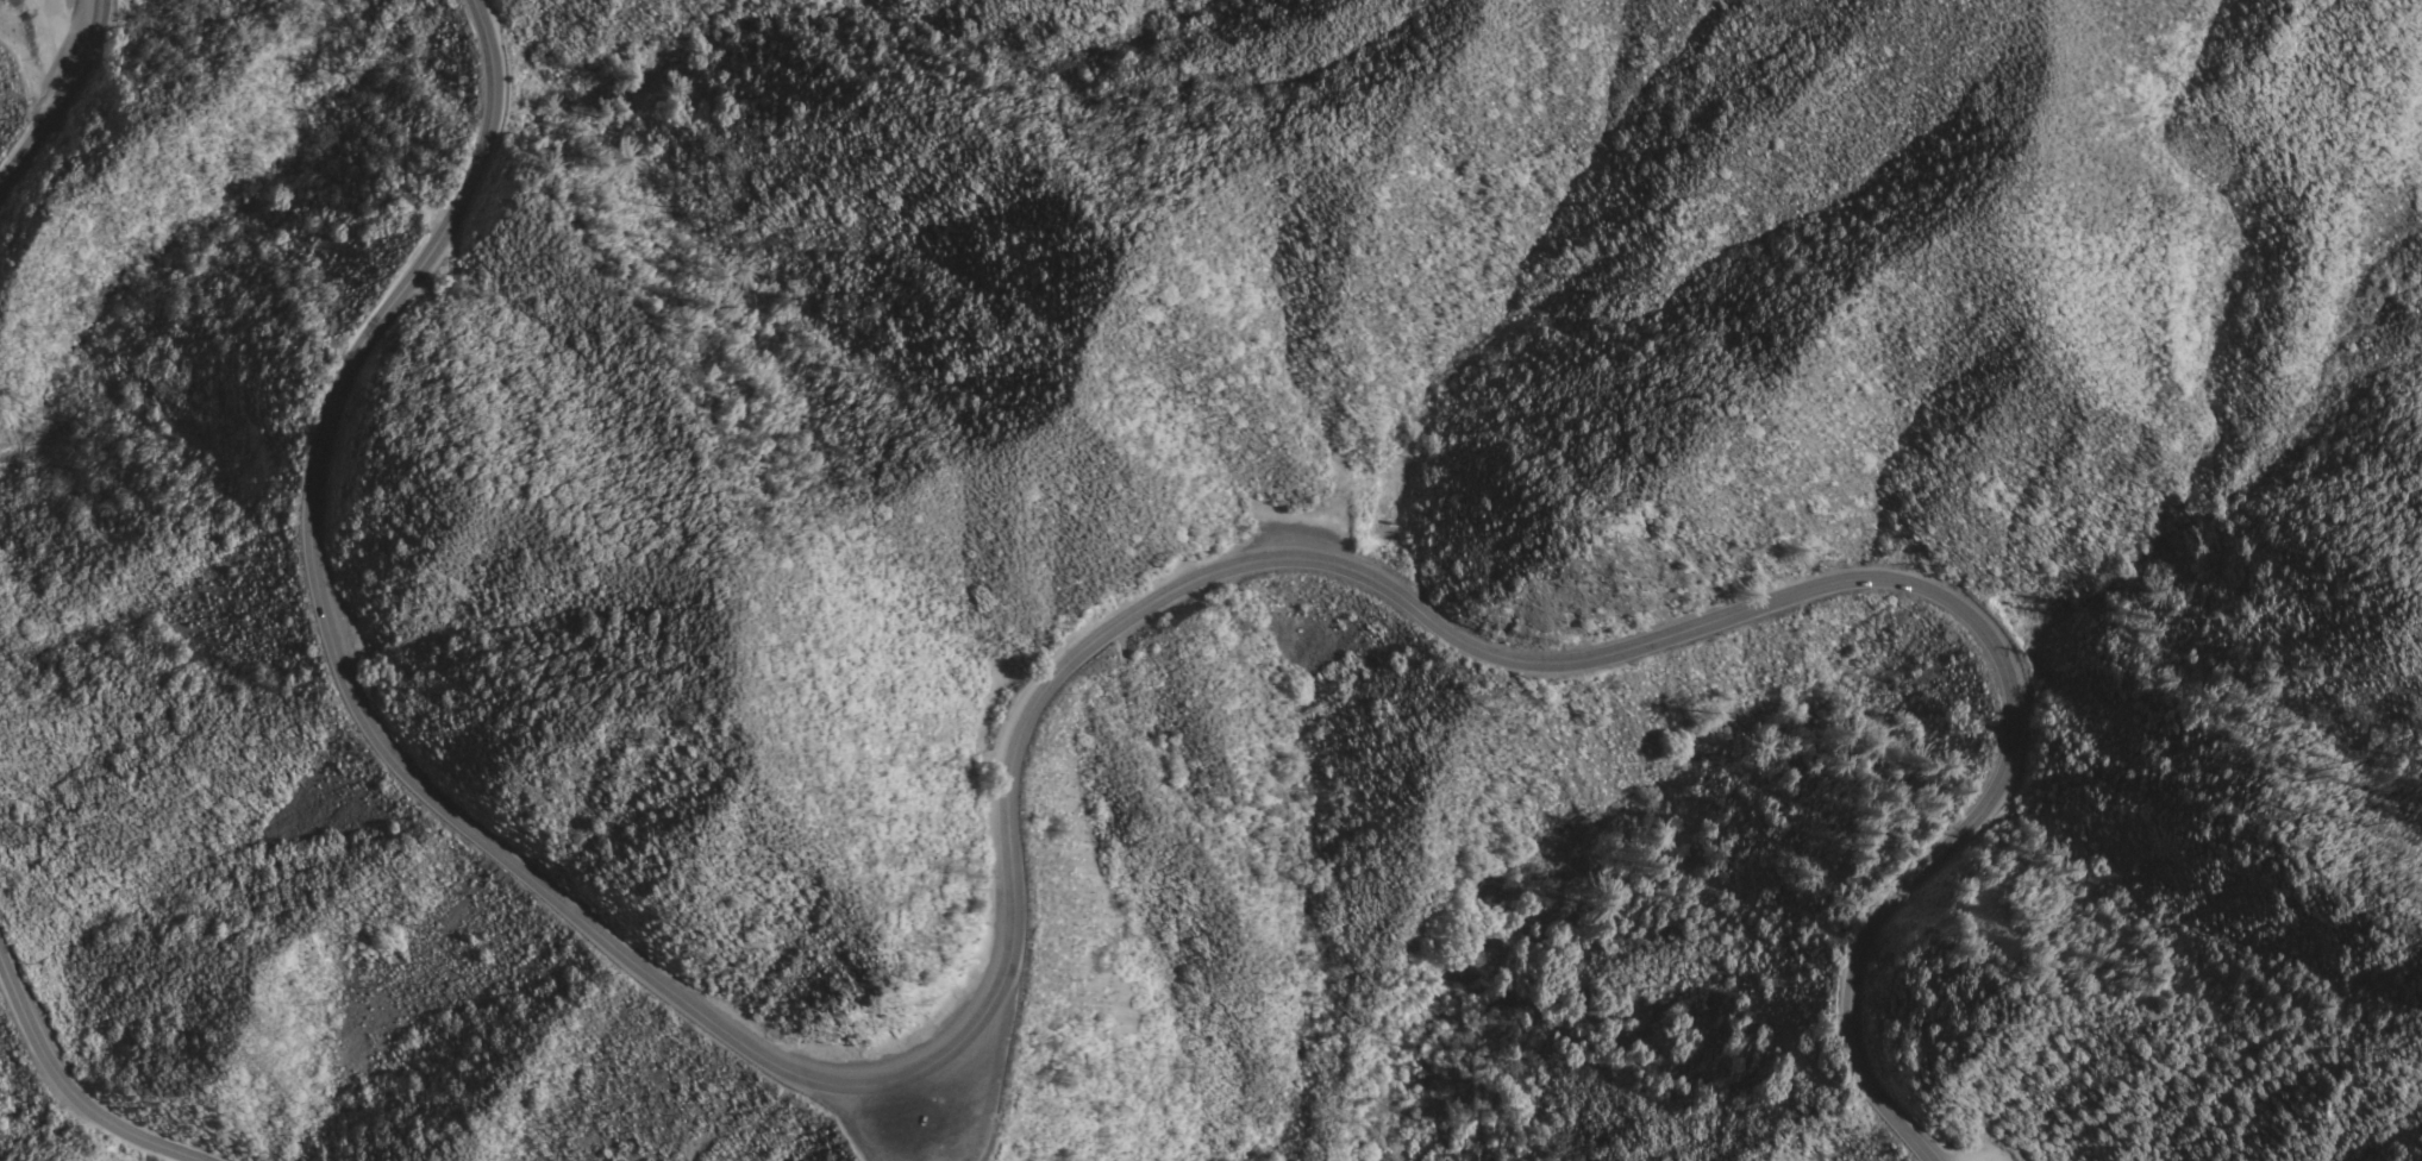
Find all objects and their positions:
road: (60, 99)
parking lot: (1300, 529)
road: (1022, 823)
road: (88, 1090)
parking lot: (928, 1116)

